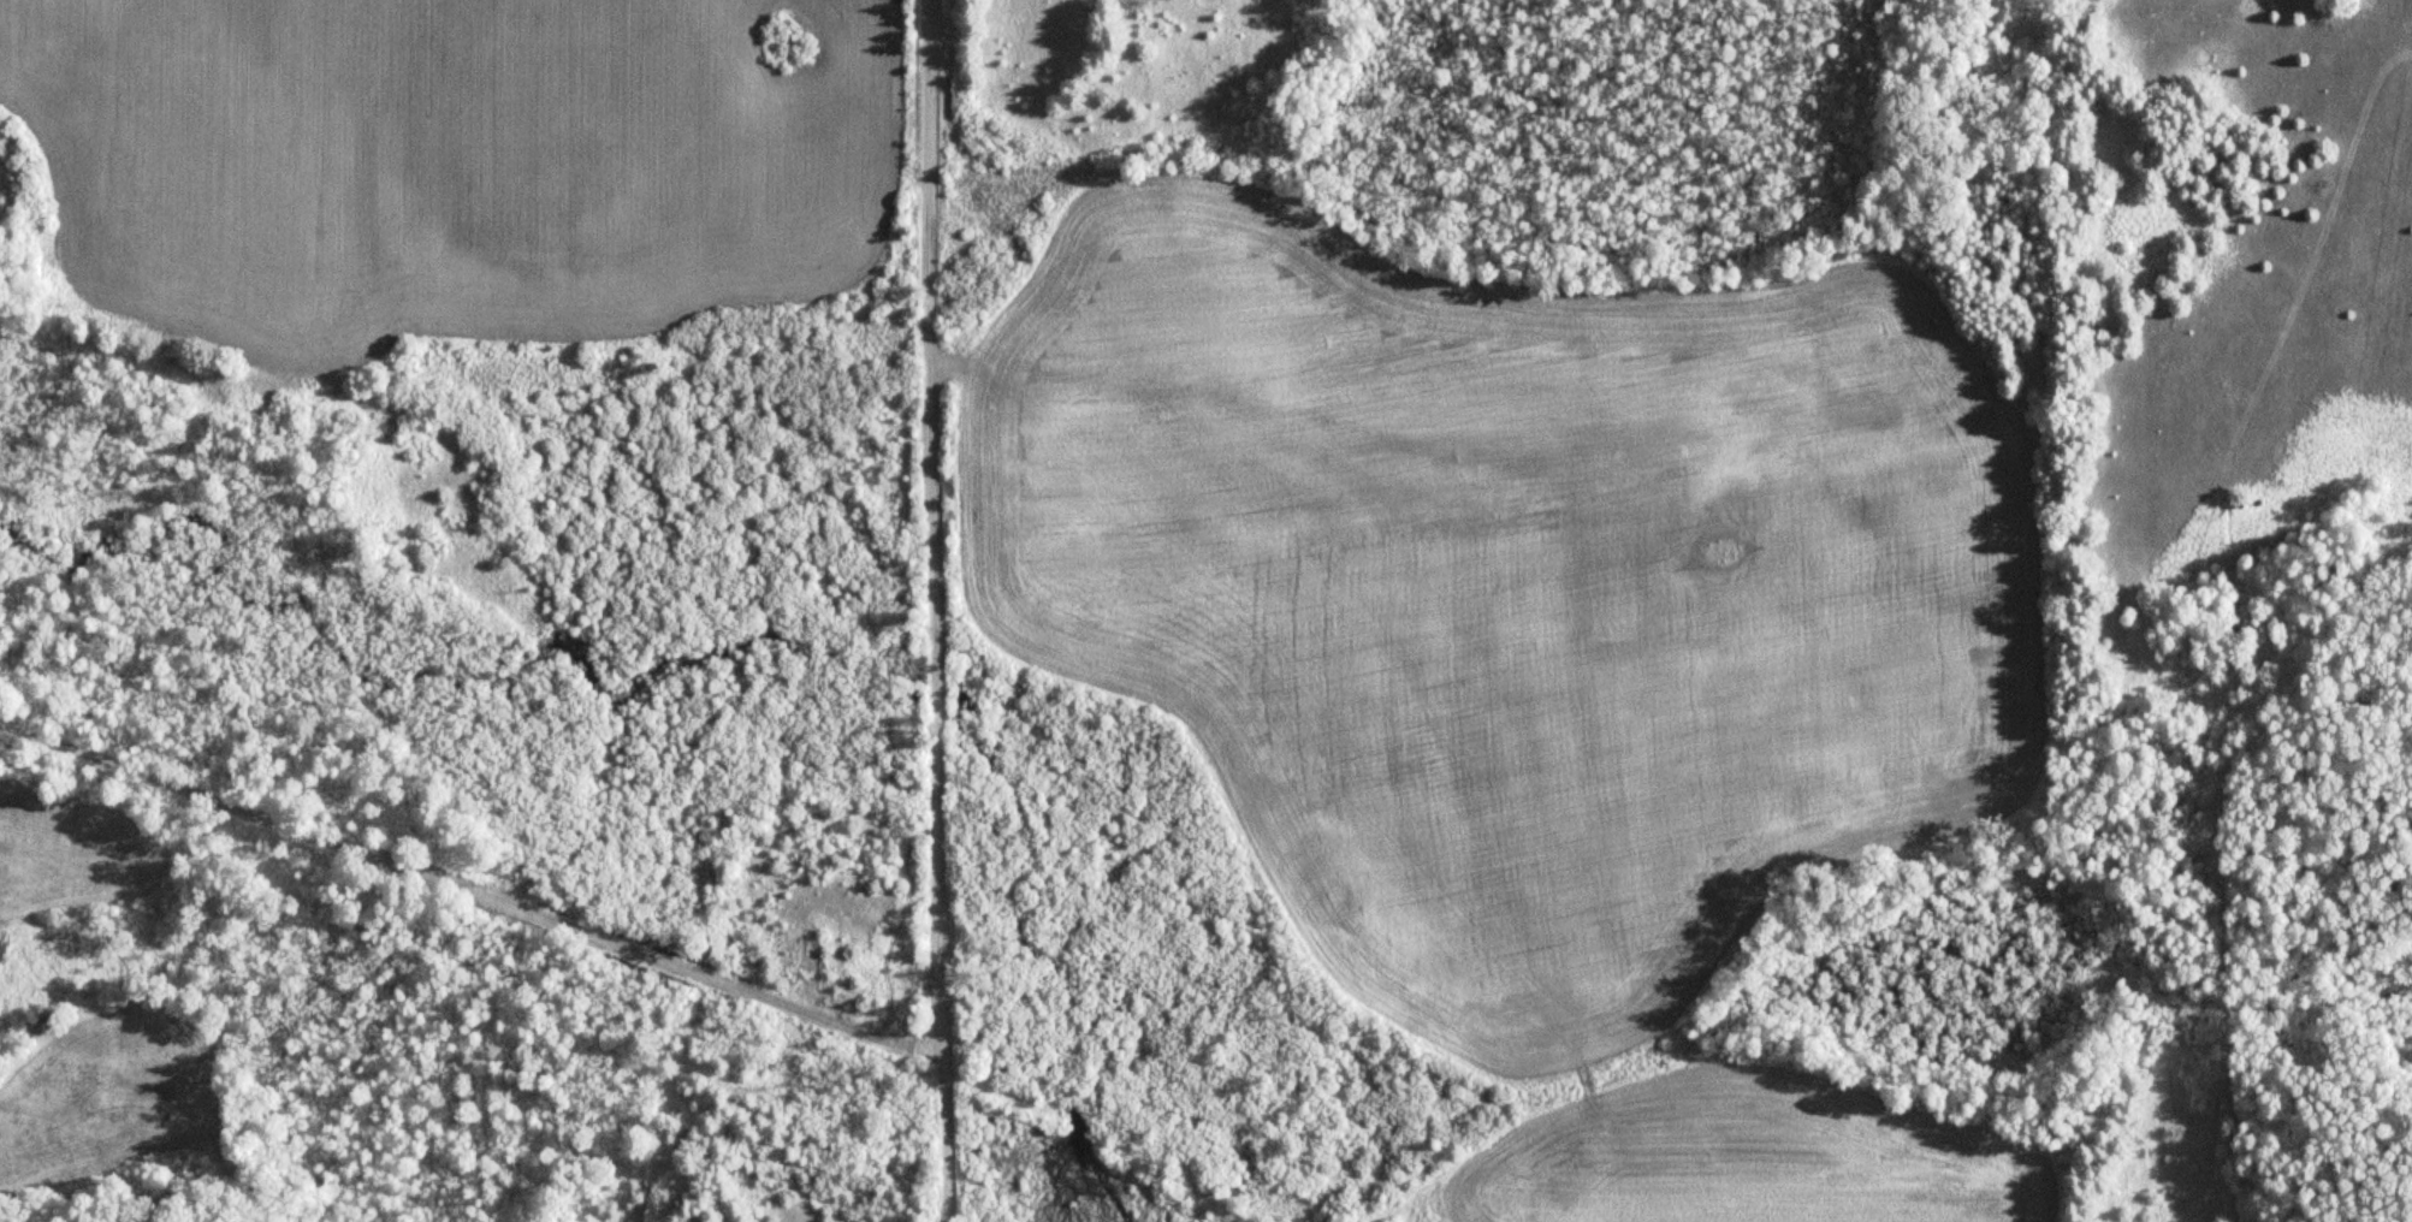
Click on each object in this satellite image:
road: (936, 611)

